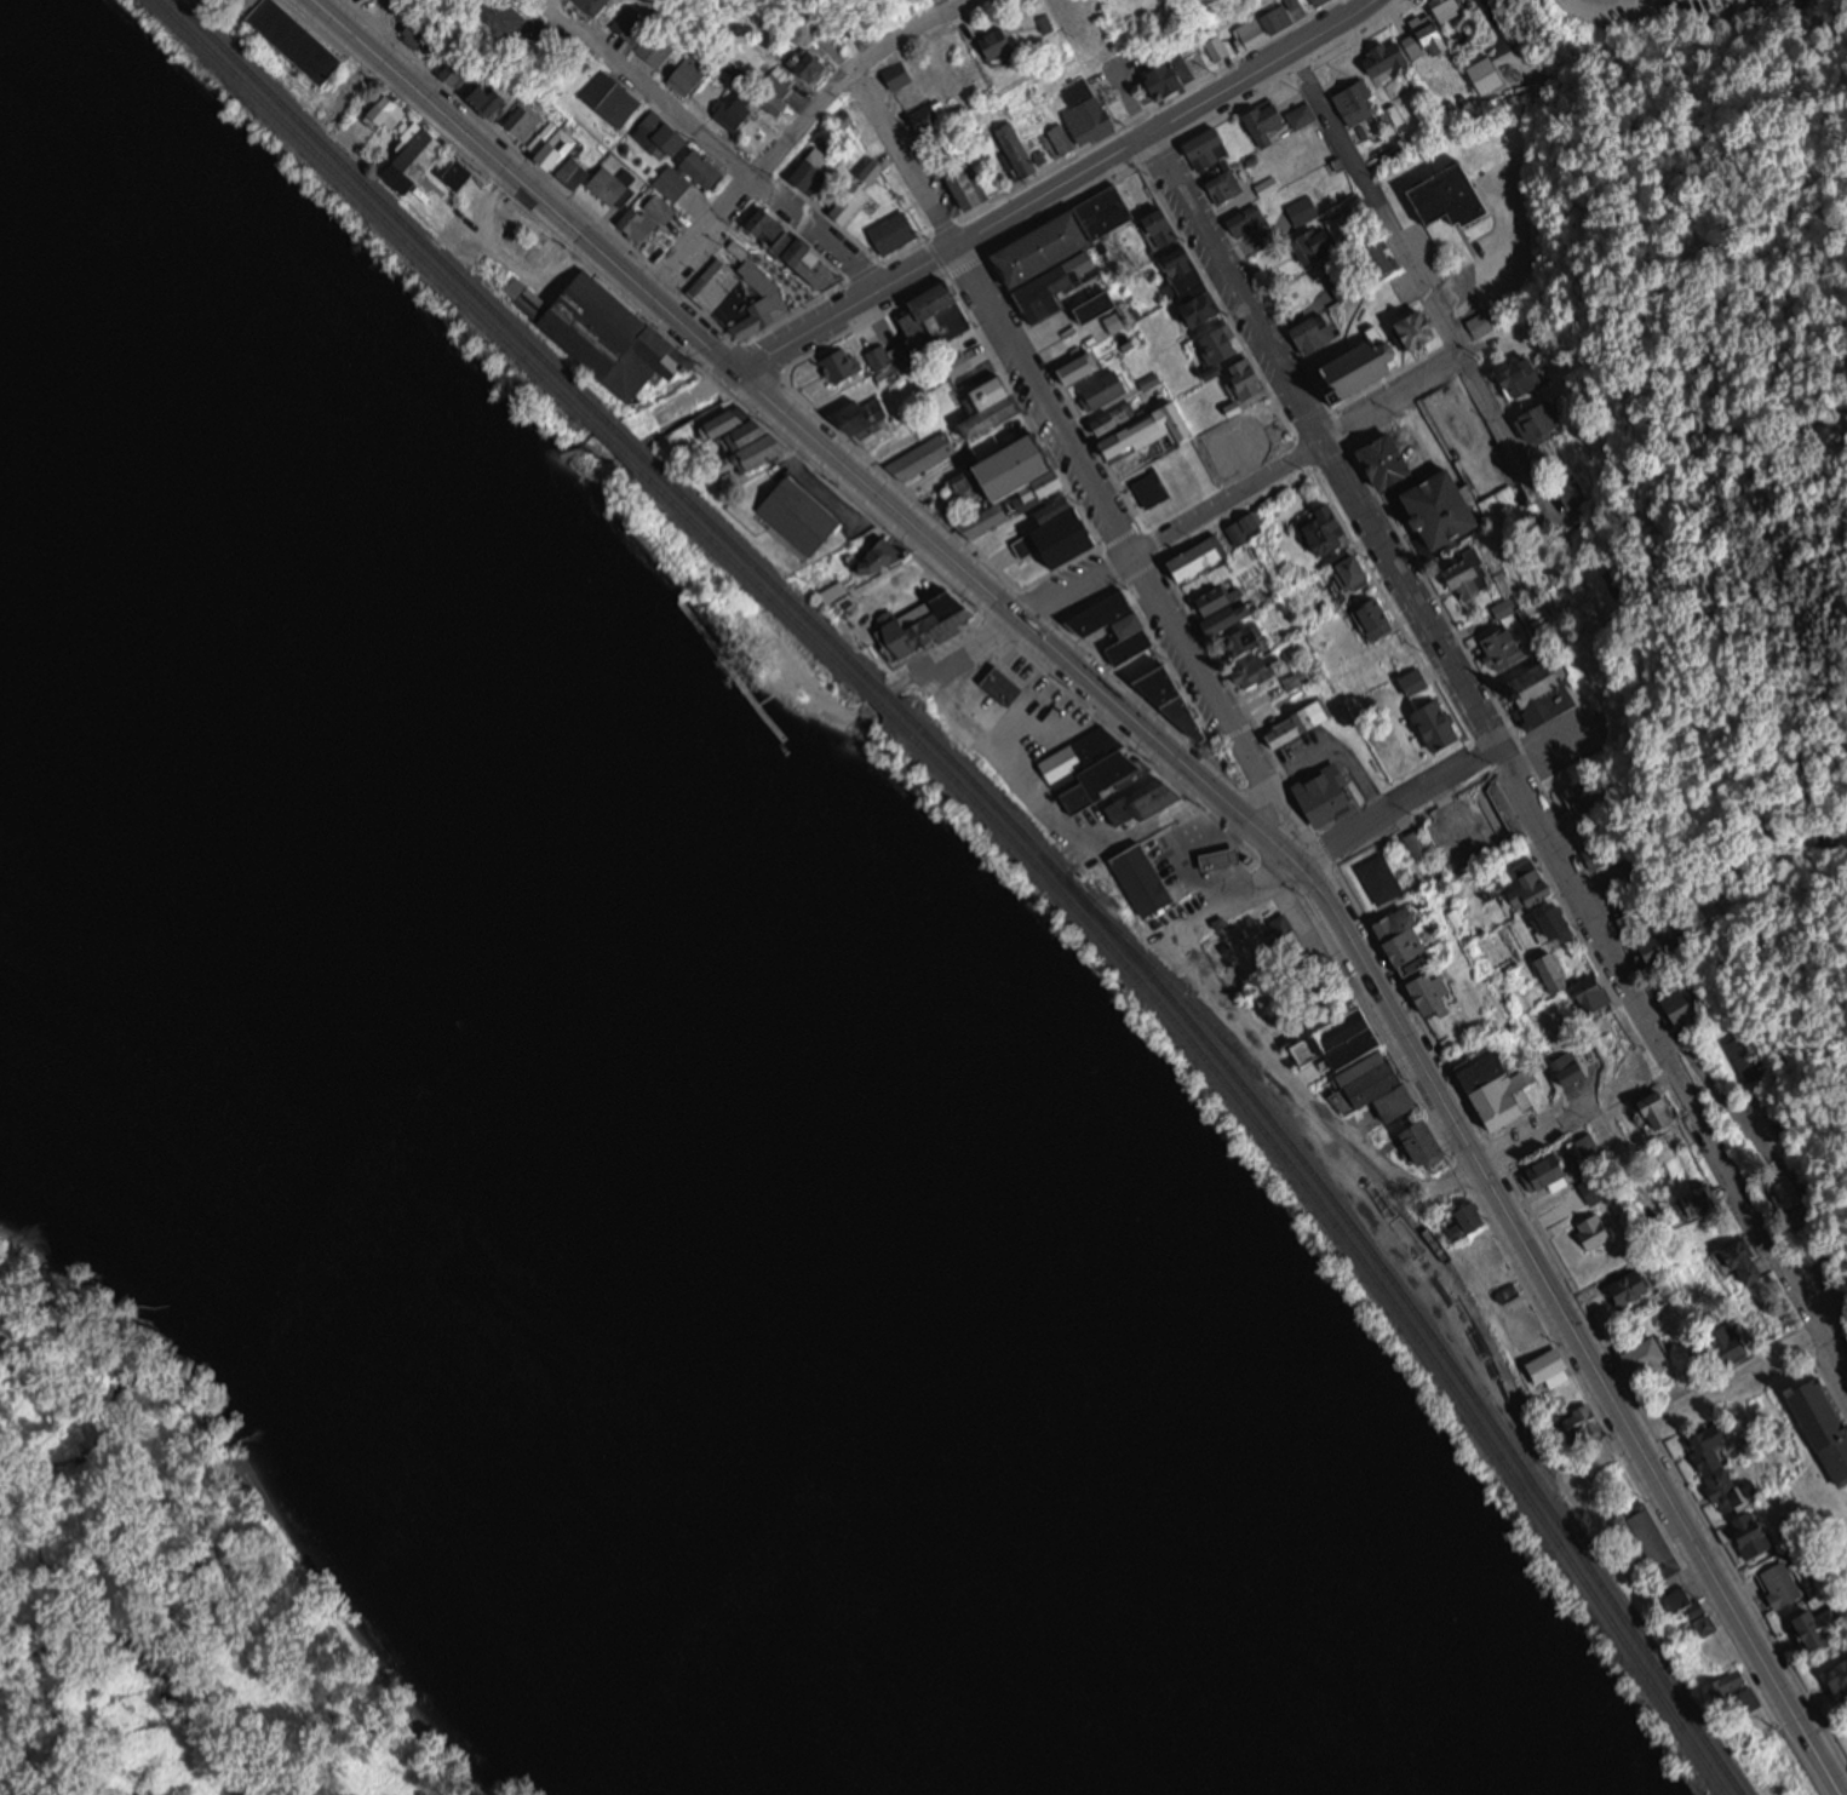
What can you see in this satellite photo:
building: (1318, 0)
building: (249, 2)
building: (509, 15)
building: (632, 21)
building: (853, 22)
building: (1262, 25)
building: (413, 36)
building: (304, 38)
building: (1418, 39)
building: (1003, 42)
building: (656, 47)
building: (813, 64)
building: (1183, 67)
building: (458, 68)
building: (1485, 70)
building: (904, 74)
building: (688, 81)
building: (612, 92)
building: (500, 101)
building: (1359, 102)
building: (740, 108)
building: (1091, 109)
building: (391, 111)
building: (524, 119)
building: (1277, 119)
building: (937, 120)
building: (662, 132)
road: (795, 137)
building: (1062, 140)
building: (1211, 145)
building: (1023, 149)
building: (558, 151)
building: (420, 157)
road: (727, 160)
building: (814, 166)
building: (461, 172)
building: (687, 176)
building: (966, 182)
road: (1055, 184)
building: (609, 185)
building: (1226, 185)
building: (1269, 185)
building: (1447, 190)
railway: (388, 202)
railway: (372, 206)
building: (660, 207)
building: (1302, 210)
building: (1250, 220)
building: (638, 224)
building: (767, 225)
building: (1062, 226)
building: (891, 228)
building: (1168, 229)
building: (1318, 242)
building: (820, 264)
road: (1419, 275)
building: (1343, 280)
building: (1194, 282)
road: (1235, 286)
building: (752, 297)
building: (1102, 305)
road: (996, 308)
building: (950, 310)
building: (1482, 321)
building: (607, 332)
building: (918, 333)
building: (1313, 336)
building: (1228, 344)
building: (974, 350)
building: (1080, 355)
building: (889, 361)
building: (1359, 362)
building: (838, 367)
building: (1524, 375)
building: (1151, 380)
building: (1108, 388)
road: (699, 389)
building: (996, 405)
building: (856, 407)
building: (1535, 424)
building: (1142, 425)
road: (808, 426)
railway: (621, 429)
railway: (610, 435)
building: (750, 437)
building: (922, 452)
building: (1384, 455)
building: (1027, 464)
building: (1149, 484)
building: (1498, 501)
road: (1195, 514)
building: (836, 522)
building: (1072, 528)
building: (1329, 531)
building: (890, 551)
building: (1198, 557)
railway: (763, 568)
building: (1355, 572)
railway: (753, 577)
building: (1472, 577)
building: (836, 590)
building: (1226, 606)
building: (925, 614)
building: (1376, 618)
building: (1117, 624)
building: (1245, 640)
building: (1504, 648)
building: (1257, 671)
building: (1412, 675)
building: (1000, 682)
railway: (889, 693)
building: (1170, 693)
railway: (881, 701)
building: (1547, 704)
road: (1214, 706)
building: (1298, 722)
building: (1440, 728)
building: (1091, 763)
building: (1324, 792)
building: (1582, 798)
building: (1143, 802)
road: (1044, 819)
road: (1358, 824)
building: (1419, 843)
building: (1220, 845)
building: (1594, 855)
gas station: (1141, 874)
building: (1378, 876)
building: (1145, 878)
building: (1533, 885)
road: (1590, 907)
river: (276, 908)
building: (1631, 919)
building: (1556, 925)
building: (1285, 941)
building: (1409, 942)
building: (1556, 971)
building: (1434, 992)
building: (1596, 994)
building: (1753, 1055)
building: (1371, 1066)
building: (1571, 1066)
building: (1498, 1089)
building: (1662, 1109)
building: (1789, 1123)
river: (549, 1139)
railway: (1346, 1143)
building: (1428, 1143)
road: (1505, 1148)
building: (1594, 1151)
road: (1623, 1162)
building: (1549, 1174)
building: (1595, 1187)
building: (1794, 1194)
building: (1822, 1199)
building: (1703, 1203)
building: (1472, 1217)
railway: (1353, 1225)
railway: (1341, 1228)
building: (1596, 1229)
building: (1746, 1256)
building: (1634, 1286)
road: (1573, 1325)
building: (1650, 1354)
building: (1555, 1369)
building: (1822, 1420)
river: (828, 1459)
building: (1723, 1470)
building: (1754, 1532)
building: (1653, 1541)
building: (1784, 1585)
building: (1691, 1608)
building: (1825, 1628)
building: (1840, 1676)
building: (1743, 1693)

